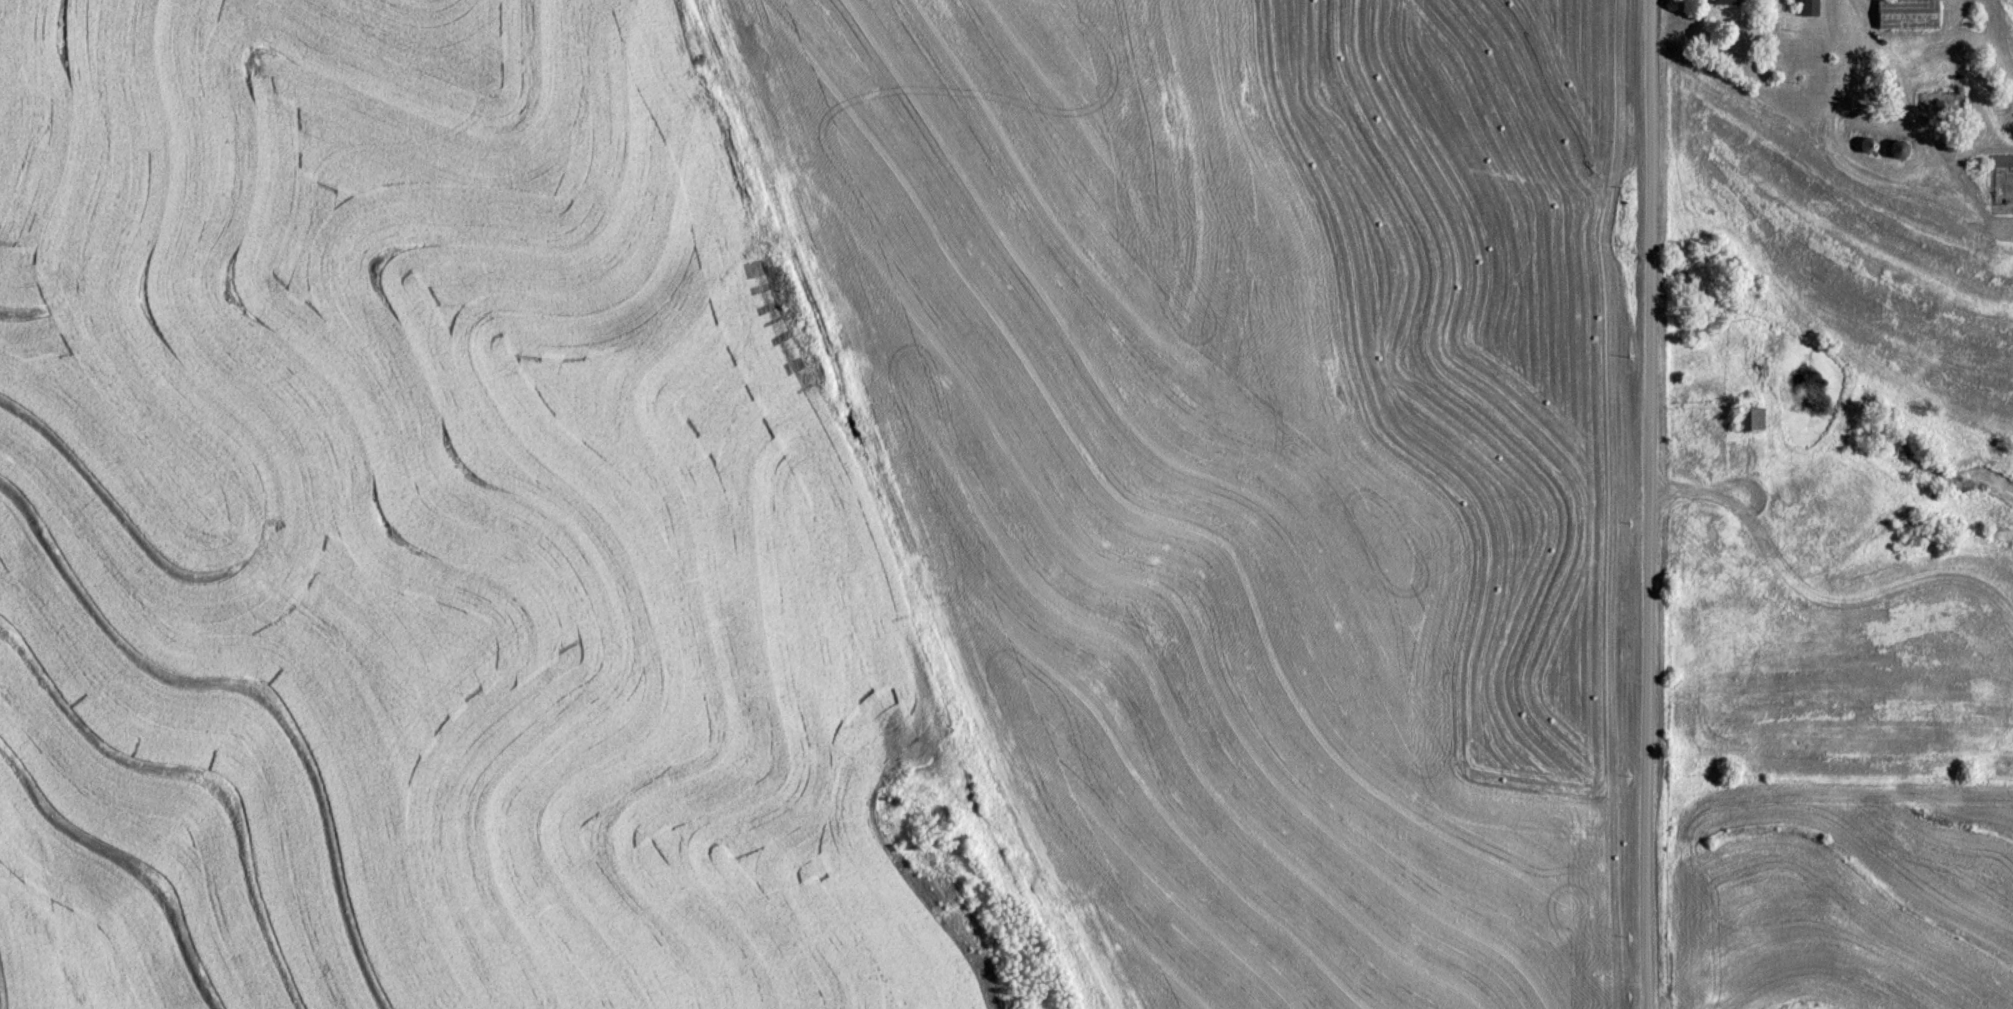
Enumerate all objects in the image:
building: (1728, 1)
building: (1812, 7)
building: (1901, 14)
building: (1892, 148)
building: (1745, 415)
road: (1648, 504)

